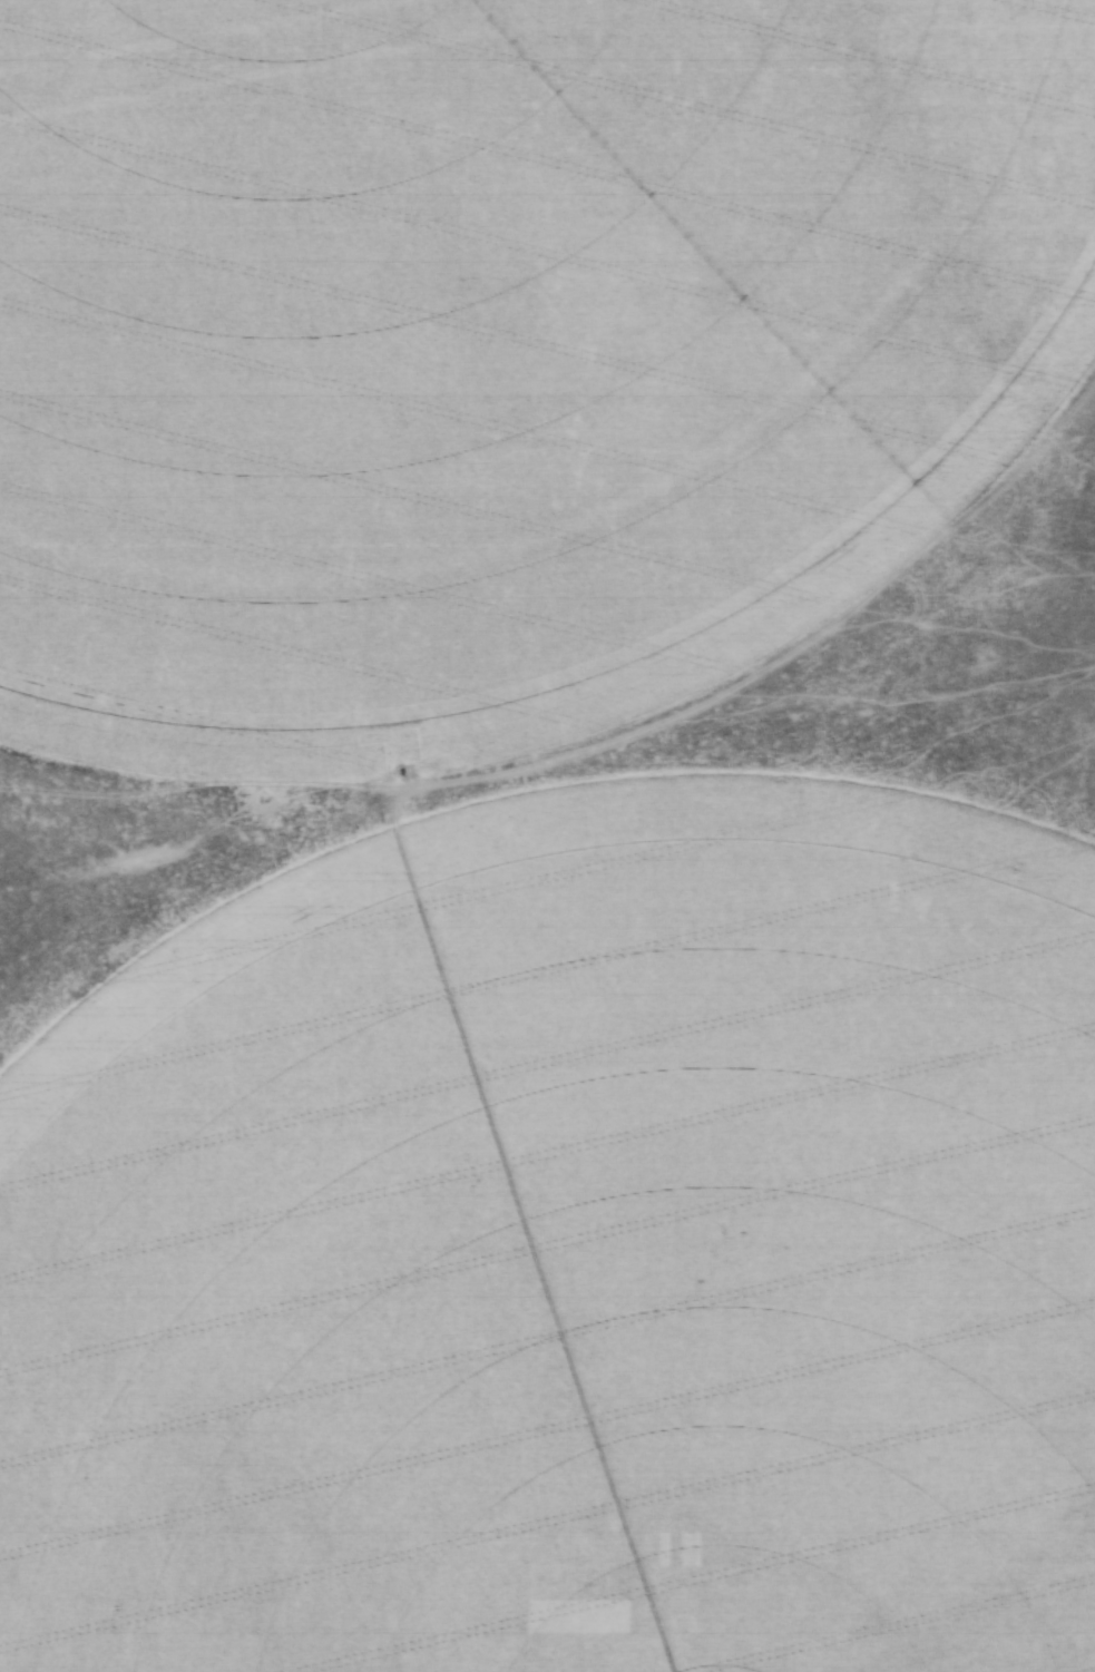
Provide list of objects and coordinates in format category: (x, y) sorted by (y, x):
crop: (498, 348)
crop: (569, 1254)

